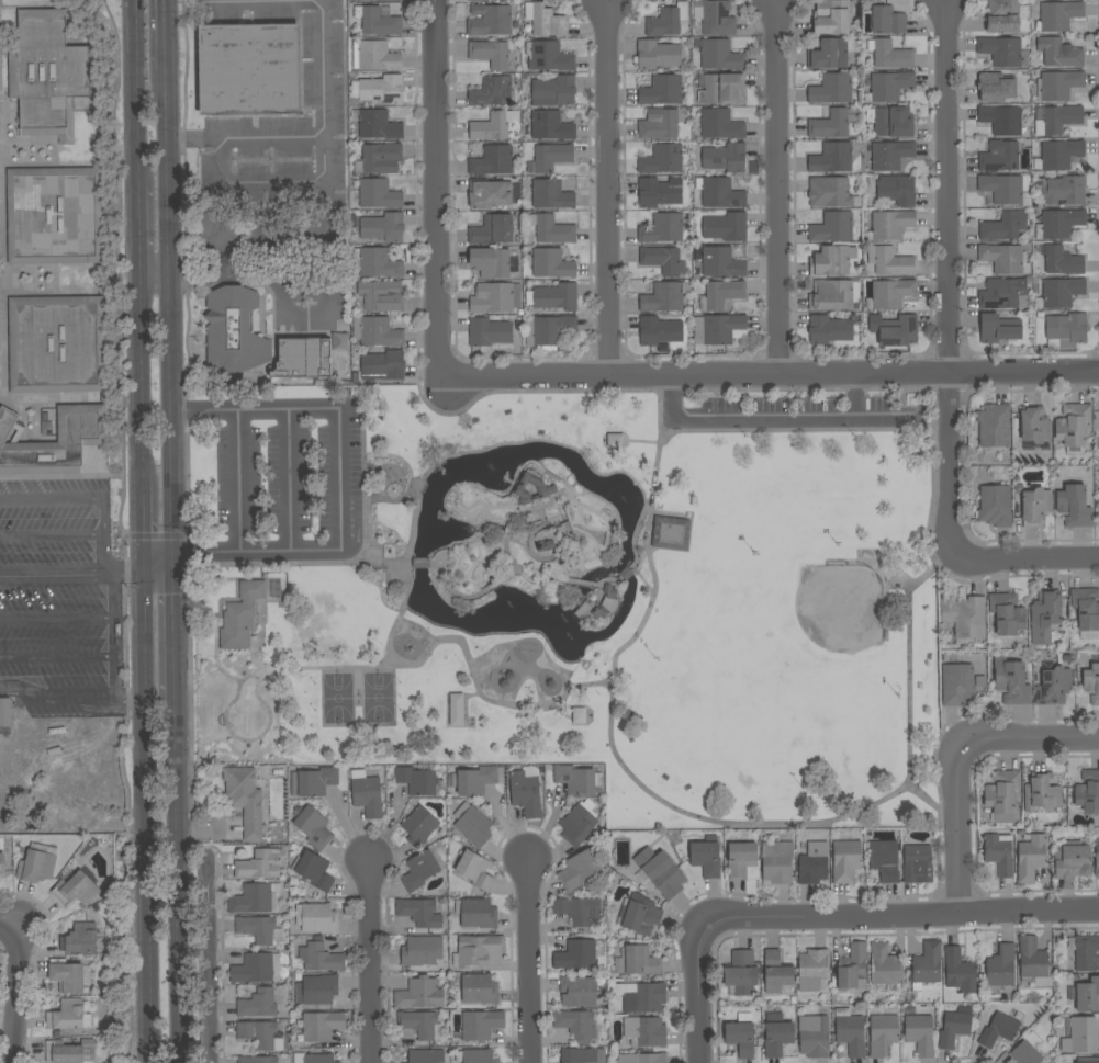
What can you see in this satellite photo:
building: (377, 0)
building: (480, 0)
building: (1005, 15)
building: (1059, 15)
building: (831, 16)
building: (715, 18)
building: (489, 20)
building: (545, 20)
building: (377, 21)
building: (666, 21)
building: (887, 21)
road: (166, 34)
building: (1001, 50)
building: (1058, 53)
building: (491, 54)
building: (830, 54)
building: (657, 55)
building: (720, 55)
building: (889, 55)
building: (377, 56)
building: (548, 56)
building: (248, 69)
building: (47, 71)
building: (995, 86)
building: (1058, 86)
building: (888, 87)
building: (724, 88)
building: (381, 89)
building: (832, 89)
building: (493, 90)
building: (661, 90)
building: (553, 91)
road: (136, 92)
building: (1001, 120)
building: (1056, 120)
building: (893, 122)
building: (833, 123)
building: (659, 124)
building: (718, 124)
building: (378, 125)
building: (493, 125)
building: (550, 125)
road: (312, 136)
building: (888, 155)
building: (1058, 155)
building: (999, 157)
building: (550, 158)
building: (725, 158)
building: (832, 158)
building: (379, 159)
building: (662, 159)
building: (492, 160)
road: (946, 186)
road: (777, 188)
building: (1002, 188)
road: (436, 189)
road: (606, 189)
building: (1067, 190)
building: (897, 191)
building: (659, 192)
building: (829, 192)
building: (719, 193)
building: (378, 194)
building: (487, 194)
building: (551, 195)
building: (55, 215)
building: (1058, 224)
building: (890, 225)
building: (1003, 226)
road: (138, 227)
building: (383, 227)
building: (726, 227)
building: (833, 227)
building: (662, 228)
building: (492, 229)
building: (553, 230)
building: (1005, 259)
building: (663, 260)
building: (831, 261)
building: (889, 261)
building: (1062, 261)
building: (490, 262)
building: (721, 262)
building: (377, 263)
building: (551, 263)
road: (231, 268)
building: (889, 293)
building: (1059, 293)
building: (720, 294)
building: (1003, 294)
building: (381, 295)
building: (833, 295)
building: (553, 297)
building: (664, 297)
building: (496, 298)
road: (170, 321)
building: (719, 328)
building: (998, 329)
building: (234, 330)
building: (660, 330)
building: (829, 330)
building: (1066, 330)
building: (377, 331)
building: (548, 331)
building: (898, 331)
building: (489, 332)
building: (56, 344)
building: (302, 359)
building: (383, 365)
road: (769, 375)
road: (141, 381)
road: (884, 389)
road: (593, 391)
road: (730, 391)
road: (183, 423)
building: (1034, 425)
building: (1073, 425)
building: (994, 426)
building: (46, 429)
building: (81, 429)
road: (546, 441)
road: (340, 478)
road: (239, 480)
road: (290, 480)
building: (547, 489)
road: (466, 490)
road: (88, 499)
road: (548, 504)
building: (995, 506)
building: (1074, 506)
building: (1035, 507)
road: (605, 520)
road: (594, 529)
road: (143, 532)
road: (366, 532)
building: (671, 533)
road: (52, 536)
road: (947, 540)
road: (594, 543)
building: (545, 546)
building: (420, 563)
road: (420, 564)
road: (57, 574)
road: (145, 575)
road: (627, 576)
road: (580, 581)
road: (607, 581)
park: (575, 592)
road: (470, 596)
parking lot: (56, 598)
park: (841, 607)
building: (1086, 608)
building: (598, 612)
building: (1007, 613)
building: (240, 615)
building: (1044, 615)
building: (969, 618)
road: (58, 619)
road: (176, 623)
road: (58, 656)
road: (909, 663)
building: (1011, 681)
building: (1091, 683)
building: (957, 685)
building: (1053, 685)
road: (116, 696)
park: (379, 698)
road: (130, 699)
park: (338, 699)
road: (496, 701)
building: (4, 712)
building: (237, 715)
road: (1038, 739)
building: (473, 780)
building: (577, 780)
building: (313, 781)
building: (416, 781)
building: (526, 791)
building: (1088, 791)
building: (1041, 792)
building: (366, 794)
building: (1001, 794)
building: (245, 800)
road: (144, 818)
road: (956, 822)
building: (576, 825)
building: (312, 826)
building: (419, 826)
building: (474, 826)
building: (999, 853)
building: (706, 857)
building: (1031, 858)
building: (1097, 858)
building: (740, 859)
building: (884, 859)
building: (845, 861)
building: (776, 862)
building: (1073, 862)
building: (37, 863)
building: (814, 863)
building: (259, 864)
building: (917, 864)
building: (2, 866)
road: (179, 867)
building: (580, 869)
building: (419, 870)
building: (474, 870)
building: (314, 871)
building: (660, 872)
building: (77, 887)
building: (251, 898)
building: (577, 909)
building: (419, 912)
building: (476, 913)
road: (891, 916)
building: (316, 918)
building: (641, 918)
road: (8, 926)
building: (259, 930)
building: (80, 939)
building: (478, 950)
building: (420, 951)
building: (1085, 952)
building: (575, 954)
building: (321, 958)
road: (209, 959)
road: (369, 959)
road: (527, 960)
building: (637, 961)
building: (1033, 961)
building: (927, 964)
building: (885, 965)
building: (257, 968)
building: (852, 968)
building: (811, 969)
building: (1000, 969)
building: (960, 971)
building: (741, 972)
building: (776, 972)
building: (67, 975)
building: (479, 988)
building: (316, 990)
building: (577, 992)
road: (16, 994)
building: (419, 994)
building: (1088, 996)
building: (643, 997)
building: (258, 1004)
road: (696, 1004)
building: (68, 1016)
building: (575, 1024)
building: (420, 1025)
building: (480, 1025)
building: (319, 1027)
building: (955, 1027)
building: (998, 1029)
building: (644, 1031)
building: (850, 1031)
building: (883, 1032)
building: (261, 1034)
building: (777, 1034)
building: (920, 1034)
building: (814, 1036)
building: (1083, 1036)
building: (740, 1038)
building: (70, 1052)
building: (1025, 1053)
building: (426, 1055)
building: (582, 1055)
building: (475, 1056)
building: (313, 1058)
building: (642, 1058)
building: (257, 1060)
building: (1088, 1060)

